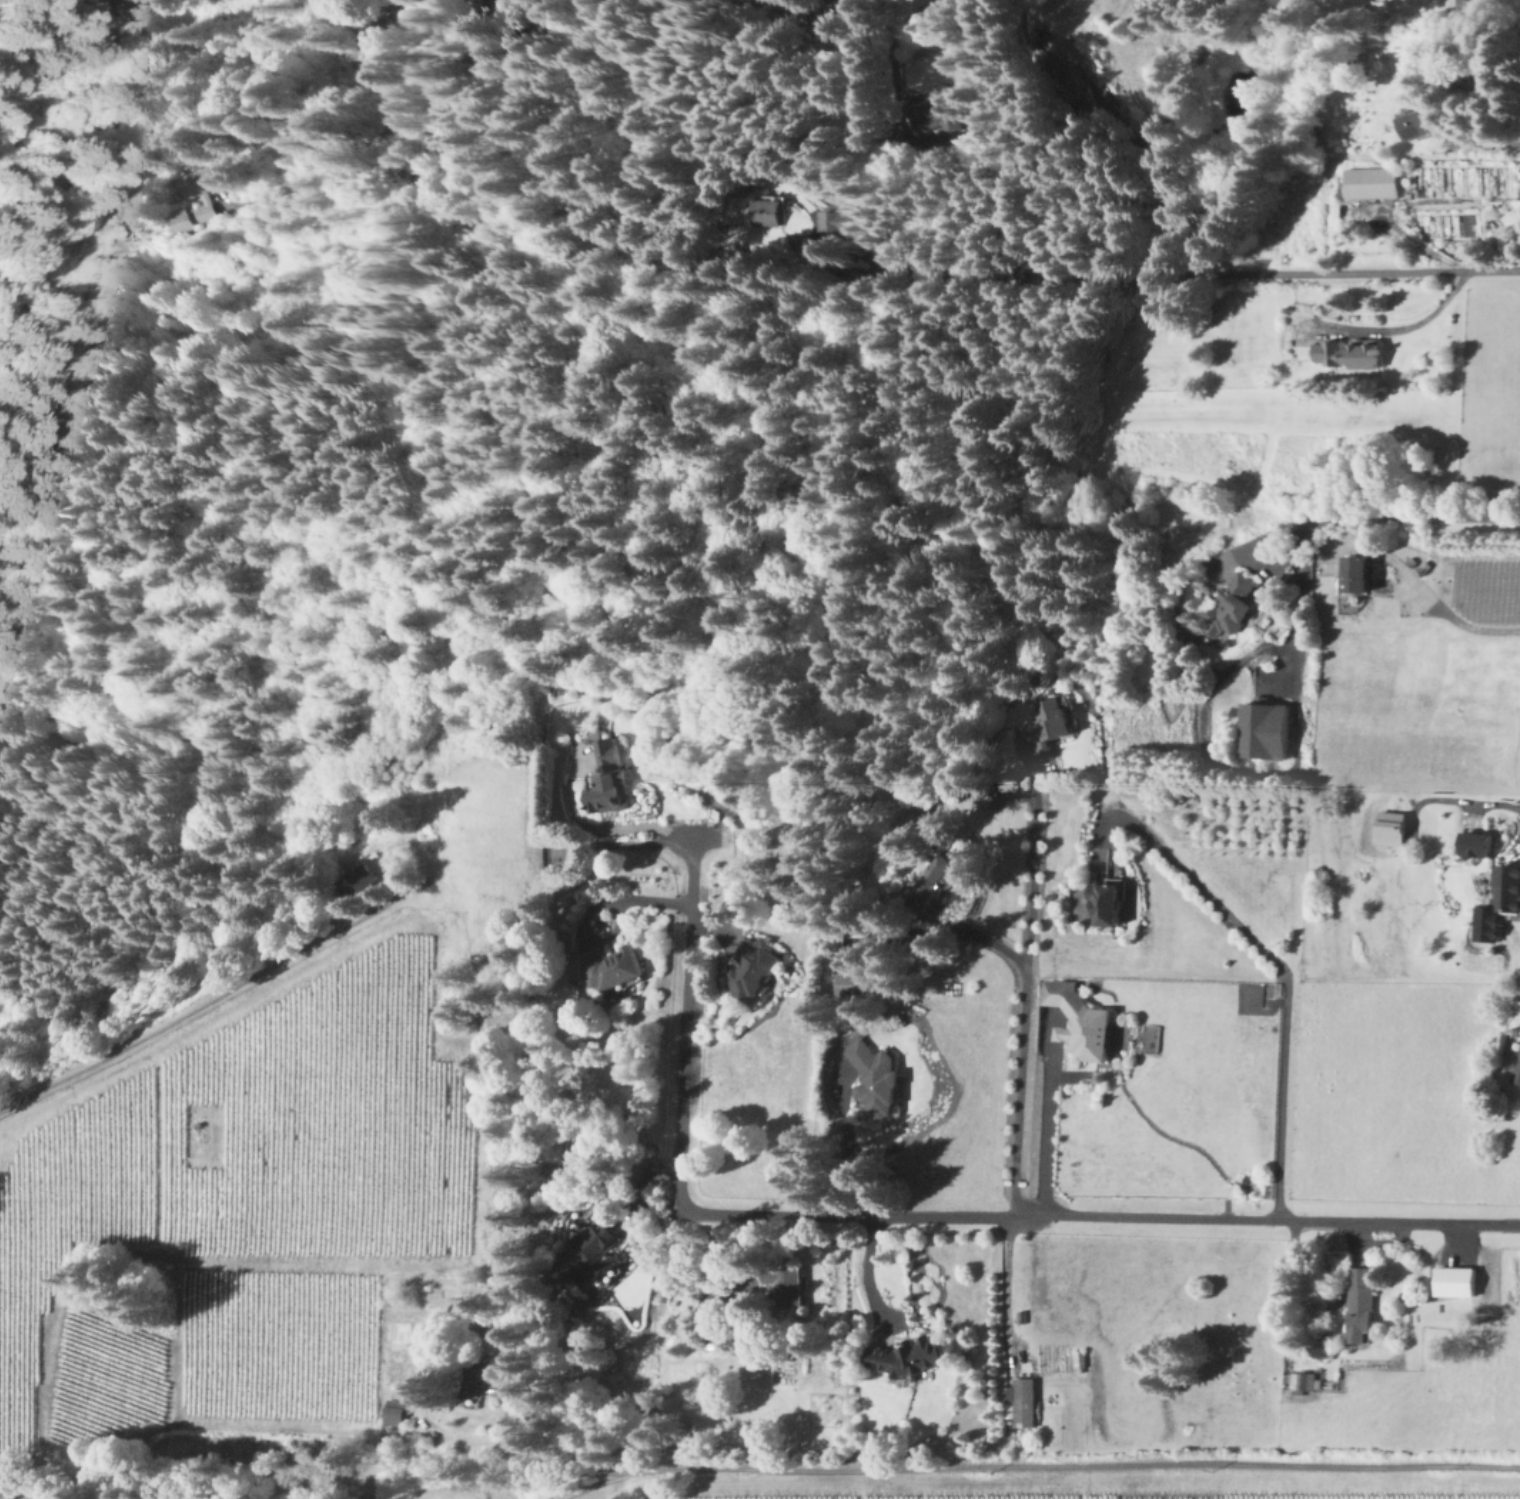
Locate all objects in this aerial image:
building: (1462, 1)
building: (392, 31)
road: (429, 66)
building: (926, 110)
building: (1427, 119)
road: (1494, 142)
road: (304, 177)
building: (1373, 181)
building: (204, 196)
building: (763, 210)
building: (834, 220)
road: (1421, 246)
road: (1182, 276)
road: (1405, 322)
building: (1351, 352)
road: (1407, 517)
building: (1363, 573)
building: (1232, 605)
road: (1444, 616)
building: (1051, 724)
building: (1267, 730)
road: (1278, 776)
building: (611, 779)
building: (1395, 827)
road: (606, 830)
building: (1482, 843)
road: (1040, 863)
building: (369, 869)
building: (1112, 901)
building: (1501, 904)
road: (590, 907)
road: (985, 933)
road: (1271, 962)
building: (614, 967)
building: (758, 972)
building: (853, 982)
road: (201, 1005)
building: (1080, 1019)
building: (1514, 1064)
building: (877, 1078)
road: (1021, 1088)
road: (1037, 1136)
road: (845, 1144)
road: (914, 1217)
building: (603, 1248)
road: (855, 1274)
building: (1456, 1280)
building: (792, 1283)
road: (997, 1286)
building: (1360, 1302)
building: (913, 1355)
building: (1303, 1381)
building: (1024, 1401)
building: (396, 1410)
road: (1060, 1466)
road: (578, 1489)
road: (604, 1490)

